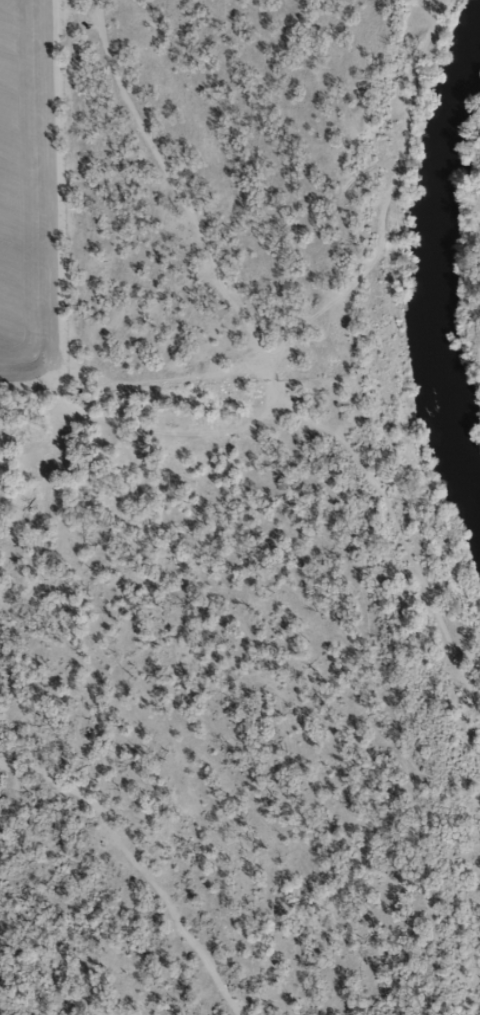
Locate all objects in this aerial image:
river: (427, 220)

